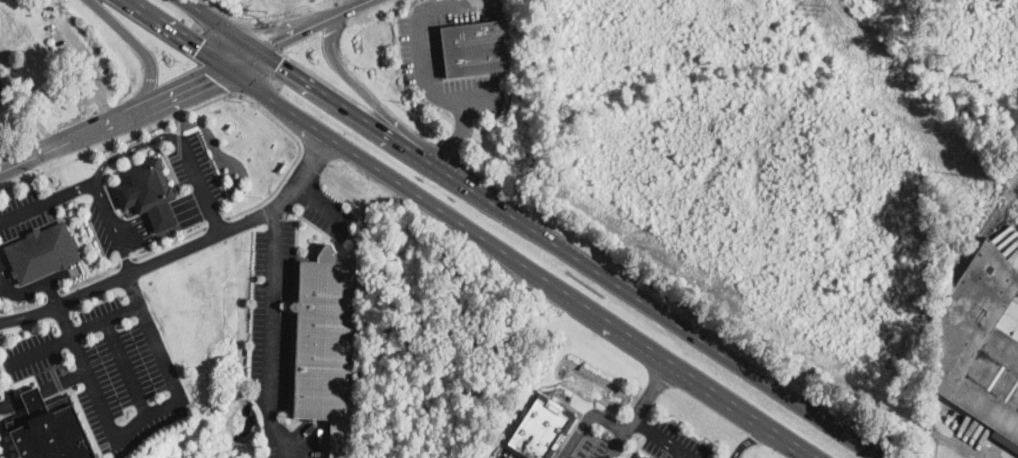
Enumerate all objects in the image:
road: (339, 5)
road: (351, 5)
power tower: (821, 8)
road: (217, 23)
road: (296, 28)
traffic signals: (272, 39)
road: (139, 45)
parking lot: (419, 47)
building: (471, 48)
traffic signals: (196, 49)
road: (239, 57)
road: (423, 62)
traffic signals: (279, 63)
traffic signals: (209, 75)
road: (357, 84)
road: (182, 86)
building: (4, 90)
road: (205, 102)
road: (179, 122)
road: (460, 134)
road: (70, 135)
road: (179, 148)
road: (96, 179)
road: (200, 183)
building: (147, 190)
parking lot: (150, 190)
road: (48, 200)
road: (326, 205)
road: (158, 207)
parking lot: (22, 212)
road: (161, 213)
parking lot: (334, 216)
road: (164, 220)
road: (215, 222)
railway: (980, 228)
road: (167, 229)
road: (466, 229)
road: (169, 242)
road: (180, 249)
building: (37, 250)
road: (569, 251)
road: (127, 260)
road: (2, 276)
road: (90, 277)
parking lot: (33, 280)
road: (2, 281)
road: (36, 285)
road: (51, 293)
road: (22, 304)
road: (73, 334)
road: (270, 336)
building: (979, 340)
parking lot: (276, 344)
building: (325, 346)
road: (125, 367)
parking lot: (108, 368)
road: (650, 389)
road: (44, 392)
parking lot: (8, 399)
road: (140, 417)
road: (586, 419)
road: (628, 424)
building: (536, 427)
building: (49, 428)
road: (664, 437)
road: (749, 440)
road: (614, 445)
road: (971, 445)
road: (956, 449)
building: (642, 456)
building: (651, 457)

